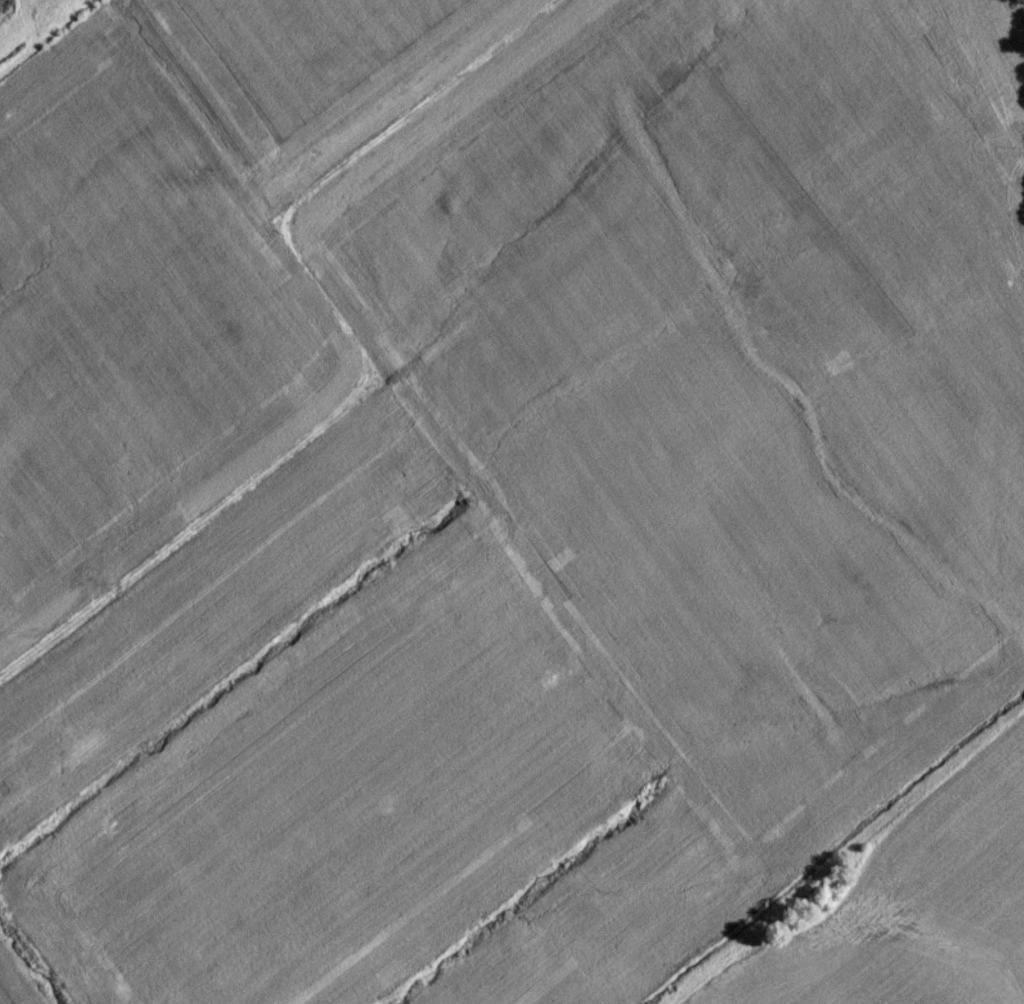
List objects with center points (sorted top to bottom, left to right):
road: (843, 854)

